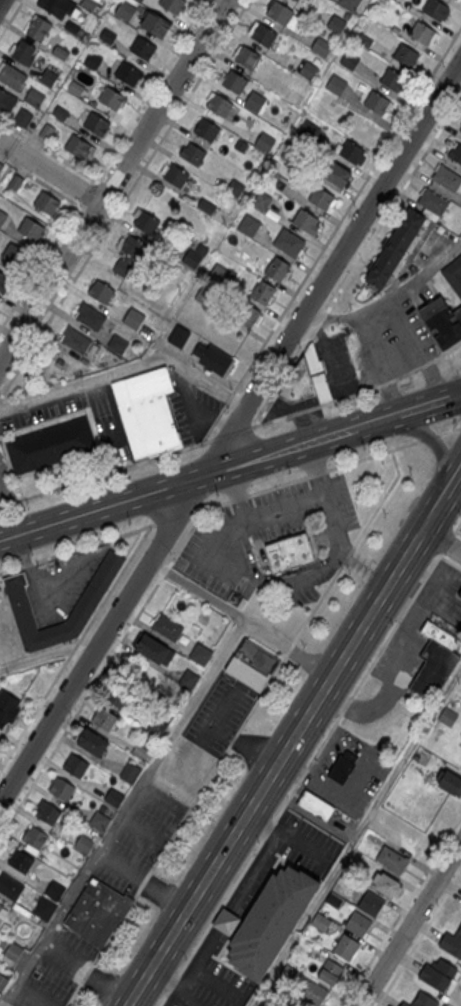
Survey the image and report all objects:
road: (0, 0)
building: (297, 0)
building: (457, 0)
building: (350, 3)
building: (173, 4)
building: (54, 7)
building: (436, 8)
building: (125, 11)
building: (279, 11)
road: (10, 16)
building: (336, 22)
building: (156, 23)
building: (39, 30)
building: (422, 32)
building: (263, 34)
building: (321, 46)
building: (142, 47)
building: (23, 54)
building: (406, 55)
building: (247, 57)
building: (92, 59)
building: (349, 60)
building: (129, 73)
building: (12, 76)
building: (48, 77)
building: (392, 78)
building: (234, 81)
building: (336, 84)
road: (147, 91)
building: (111, 97)
building: (3, 98)
building: (34, 98)
building: (254, 101)
building: (376, 102)
building: (219, 105)
building: (23, 118)
building: (96, 123)
building: (206, 128)
building: (460, 129)
building: (265, 141)
building: (77, 145)
road: (48, 150)
building: (456, 151)
building: (193, 153)
building: (352, 153)
building: (1, 166)
road: (50, 170)
building: (337, 173)
building: (176, 175)
building: (447, 177)
road: (40, 180)
building: (15, 182)
road: (111, 182)
road: (103, 185)
road: (85, 191)
building: (320, 197)
road: (123, 199)
building: (261, 200)
building: (433, 201)
building: (47, 203)
building: (205, 206)
road: (346, 207)
road: (87, 209)
building: (2, 217)
building: (305, 220)
building: (146, 221)
building: (249, 225)
building: (31, 228)
building: (288, 242)
building: (132, 246)
building: (395, 249)
building: (13, 253)
road: (358, 260)
road: (39, 264)
building: (278, 269)
building: (453, 272)
building: (4, 280)
building: (101, 291)
building: (263, 292)
road: (387, 295)
building: (248, 315)
building: (90, 316)
building: (134, 318)
building: (442, 322)
building: (178, 335)
building: (75, 339)
building: (117, 344)
building: (212, 358)
road: (451, 364)
road: (127, 368)
building: (309, 378)
road: (358, 391)
road: (458, 391)
road: (228, 395)
road: (431, 403)
parking lot: (191, 412)
building: (145, 413)
road: (212, 421)
road: (456, 422)
parking lot: (107, 425)
road: (449, 431)
road: (229, 432)
road: (232, 433)
road: (428, 437)
building: (51, 444)
road: (438, 446)
road: (105, 472)
road: (201, 477)
road: (453, 482)
parking lot: (5, 484)
road: (279, 484)
road: (380, 498)
road: (200, 509)
road: (286, 510)
road: (433, 512)
road: (176, 516)
road: (457, 527)
road: (458, 531)
road: (441, 542)
road: (447, 542)
parking lot: (270, 543)
road: (77, 547)
road: (345, 555)
building: (289, 556)
road: (450, 562)
road: (157, 567)
road: (362, 569)
road: (164, 571)
road: (438, 580)
parking lot: (61, 584)
road: (291, 585)
road: (410, 586)
building: (460, 593)
parking lot: (447, 595)
building: (89, 599)
road: (437, 601)
road: (400, 604)
road: (316, 605)
road: (248, 622)
building: (167, 627)
building: (439, 634)
road: (75, 644)
building: (154, 649)
road: (287, 649)
parking lot: (403, 650)
road: (409, 650)
building: (200, 654)
road: (46, 656)
road: (37, 657)
building: (250, 666)
building: (434, 669)
building: (188, 679)
building: (116, 694)
road: (80, 705)
road: (360, 706)
parking lot: (218, 714)
building: (4, 717)
building: (103, 718)
building: (157, 726)
building: (92, 741)
building: (140, 750)
building: (416, 756)
building: (75, 765)
building: (343, 766)
road: (274, 767)
building: (129, 772)
road: (299, 778)
building: (448, 780)
building: (61, 787)
building: (113, 797)
building: (316, 805)
building: (48, 812)
road: (123, 813)
building: (99, 820)
road: (176, 830)
road: (355, 836)
building: (35, 837)
parking lot: (135, 846)
building: (391, 858)
building: (21, 860)
road: (142, 882)
building: (388, 883)
building: (9, 886)
building: (55, 889)
building: (1, 905)
building: (44, 907)
road: (401, 909)
building: (96, 912)
parking lot: (226, 918)
building: (354, 919)
building: (270, 920)
building: (226, 921)
building: (321, 921)
road: (411, 924)
road: (418, 938)
building: (452, 943)
building: (346, 947)
building: (13, 950)
parking lot: (58, 971)
road: (86, 971)
building: (330, 971)
building: (289, 972)
building: (438, 973)
building: (3, 981)
building: (310, 993)
building: (422, 1000)
road: (4, 1001)
building: (265, 1004)
road: (10, 1005)

